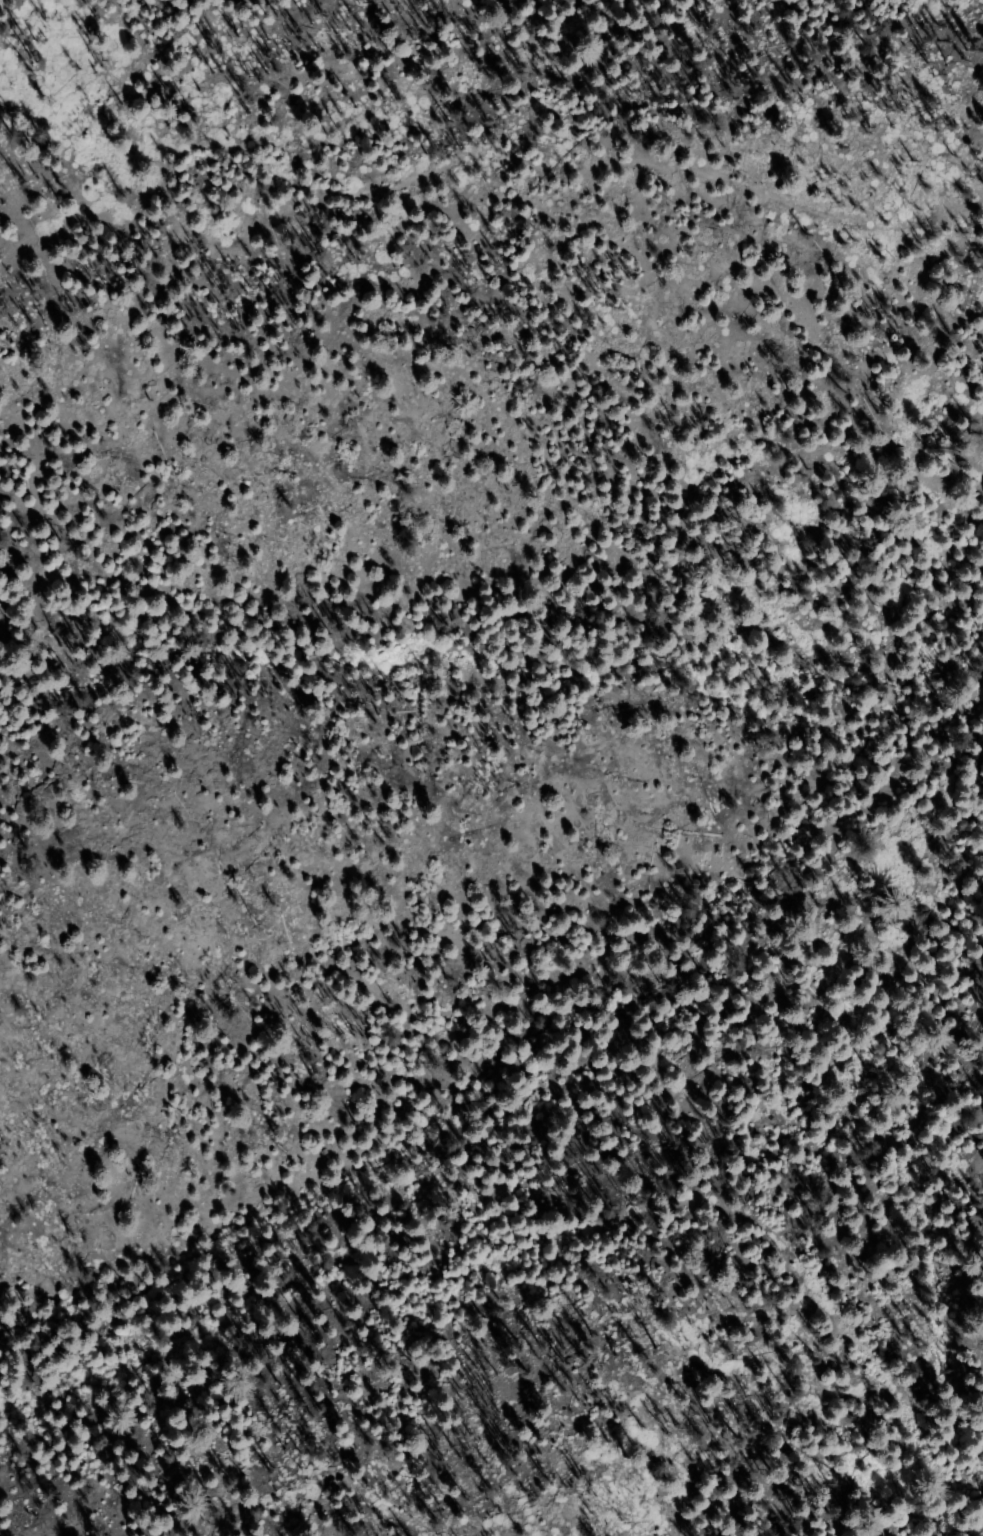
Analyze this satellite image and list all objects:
road: (66, 166)
road: (507, 1281)

